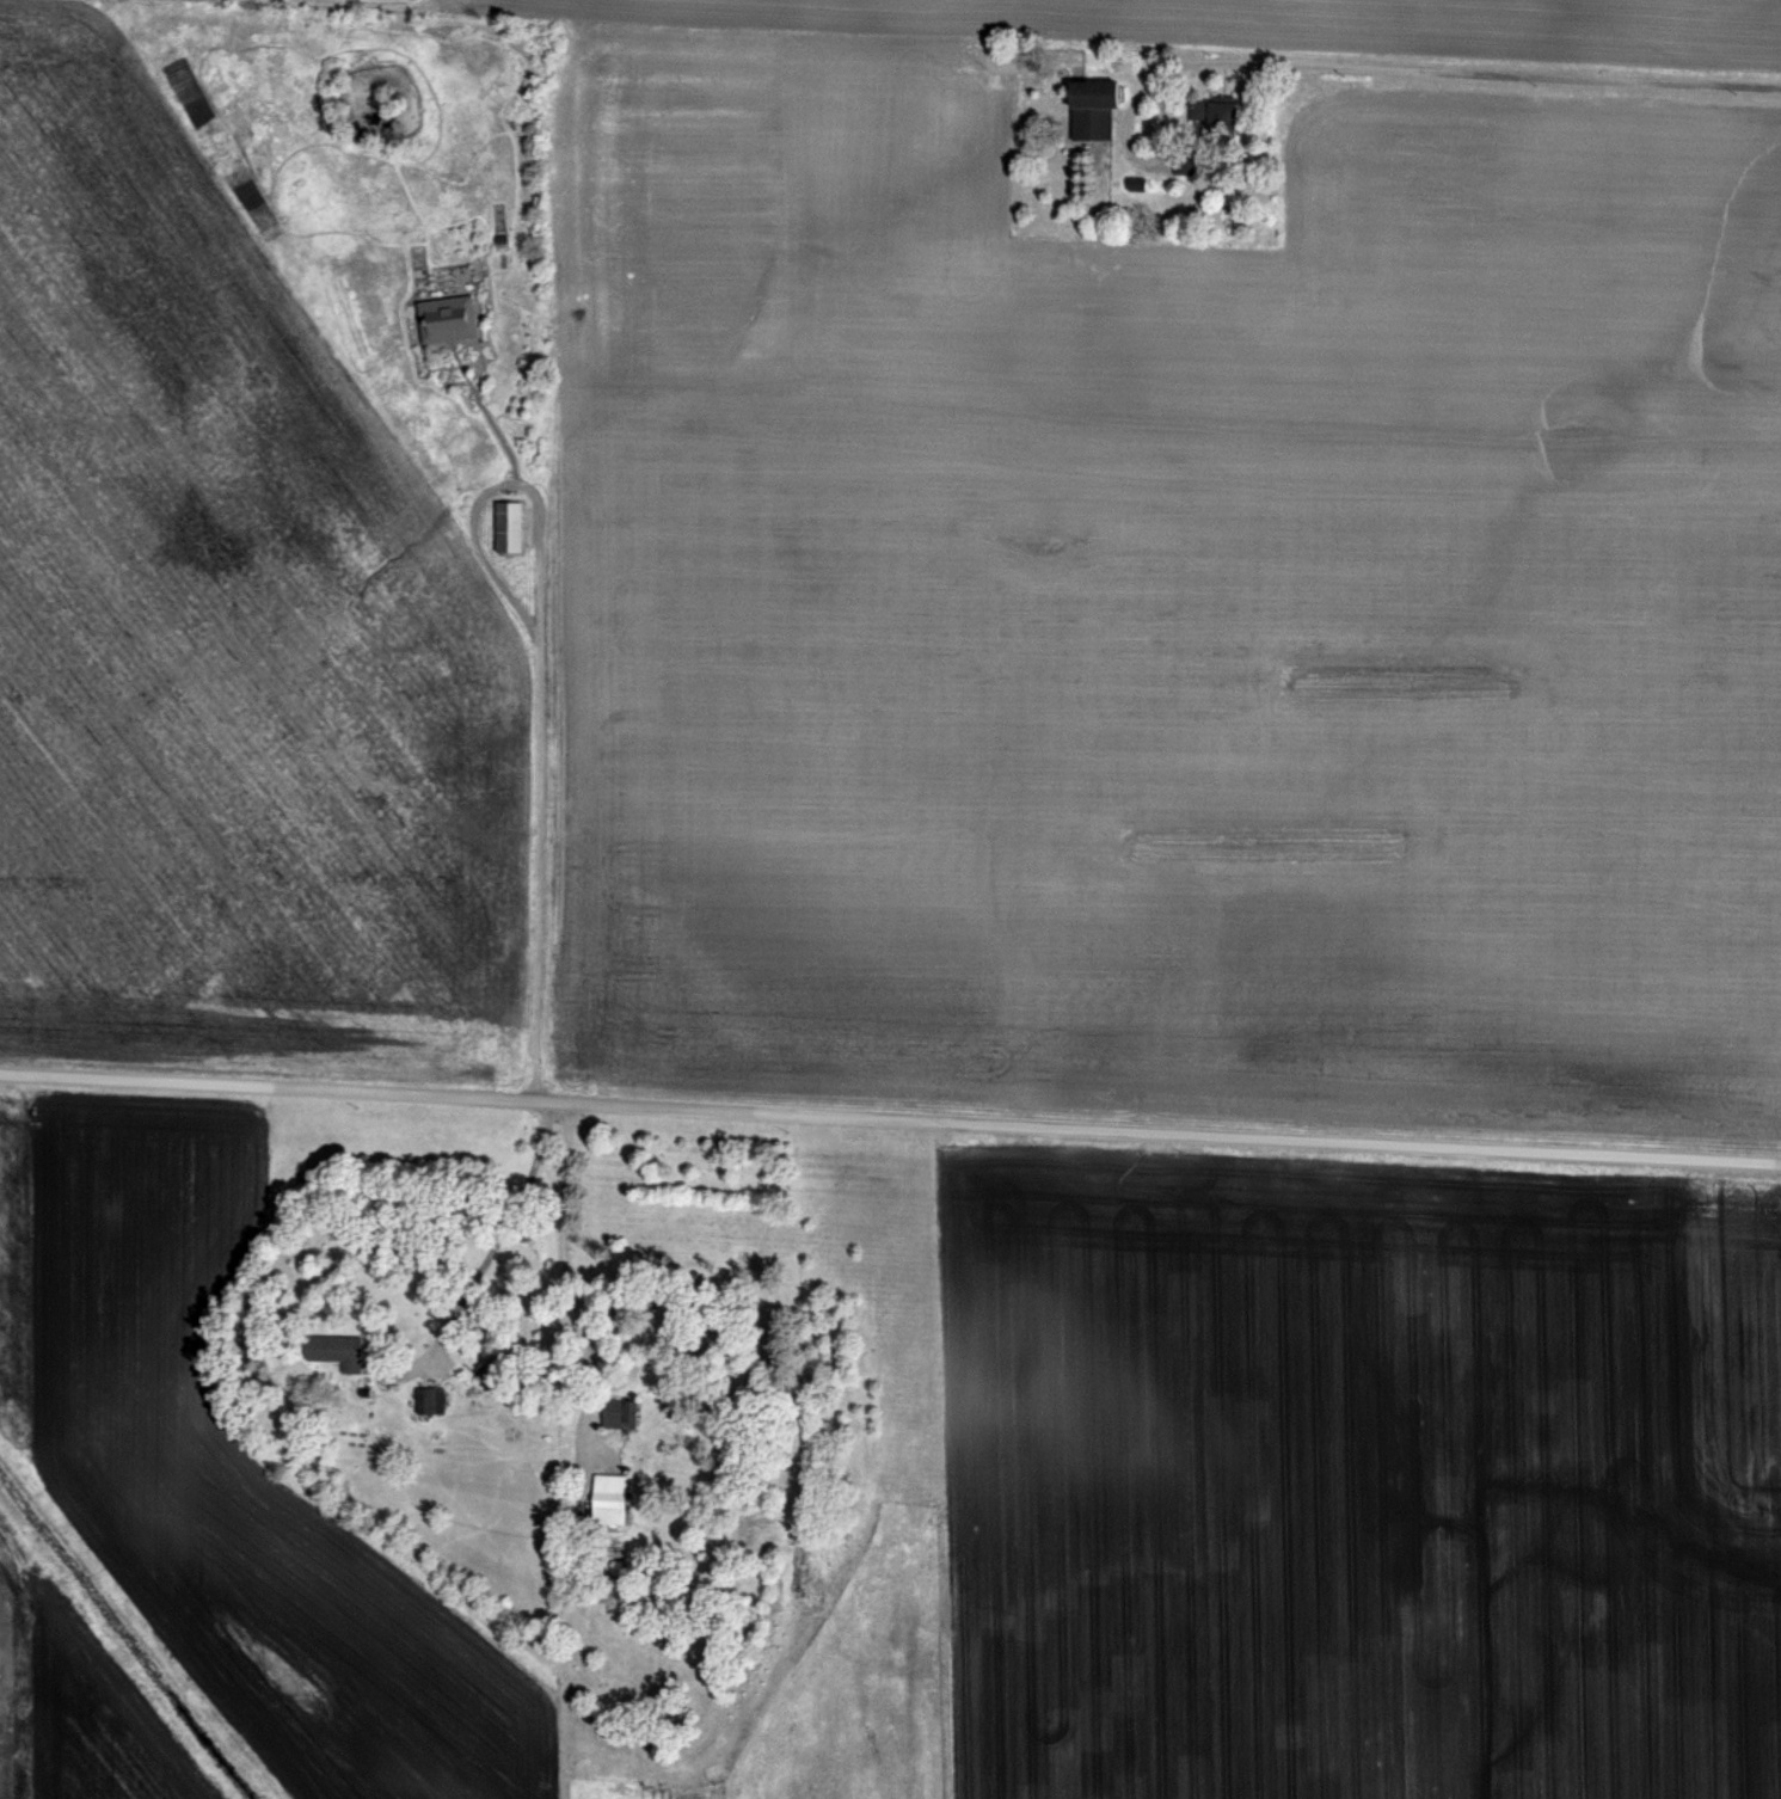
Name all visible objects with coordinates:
road: (1401, 67)
building: (1086, 106)
building: (1209, 116)
building: (1177, 156)
building: (1185, 165)
building: (1131, 179)
building: (438, 315)
building: (500, 523)
crop: (899, 535)
road: (481, 548)
road: (538, 727)
road: (890, 1116)
road: (497, 1223)
road: (565, 1271)
building: (331, 1347)
building: (489, 1362)
building: (487, 1370)
building: (425, 1398)
building: (615, 1411)
crop: (876, 1435)
building: (602, 1496)

